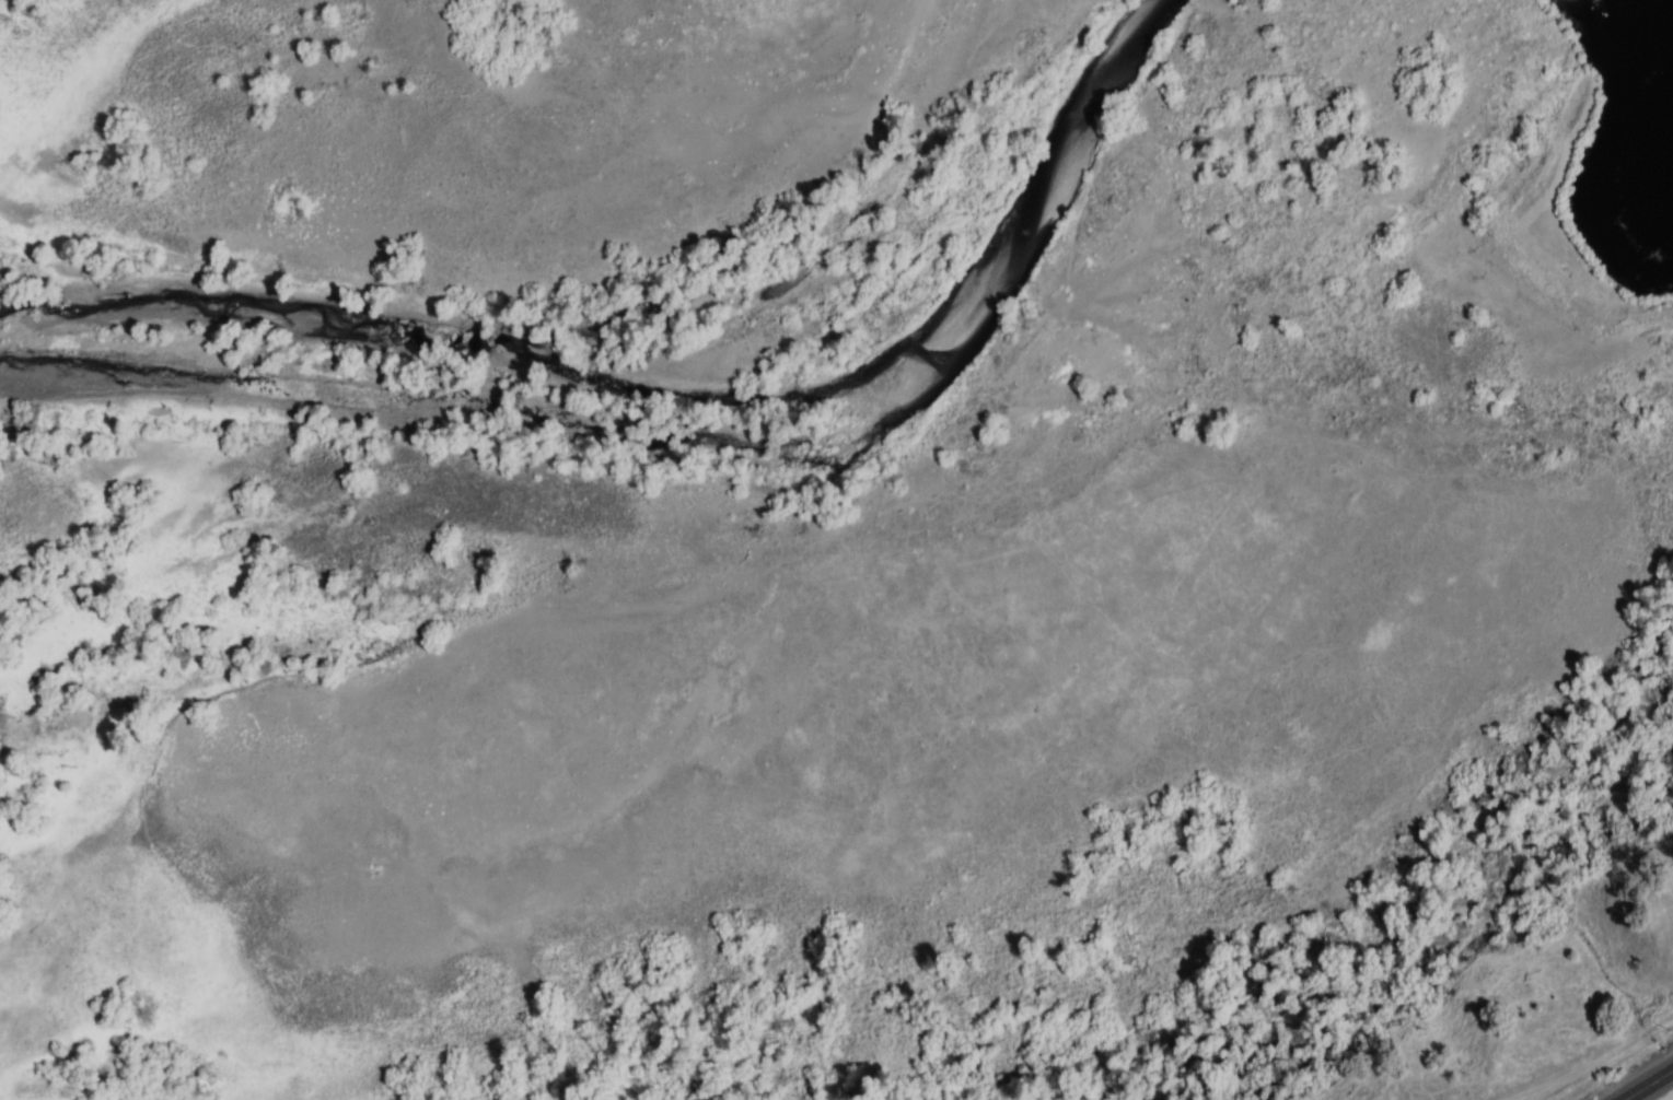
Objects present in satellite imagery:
river: (671, 433)
crop: (1577, 1013)
road: (1608, 1072)
road: (1648, 1085)

